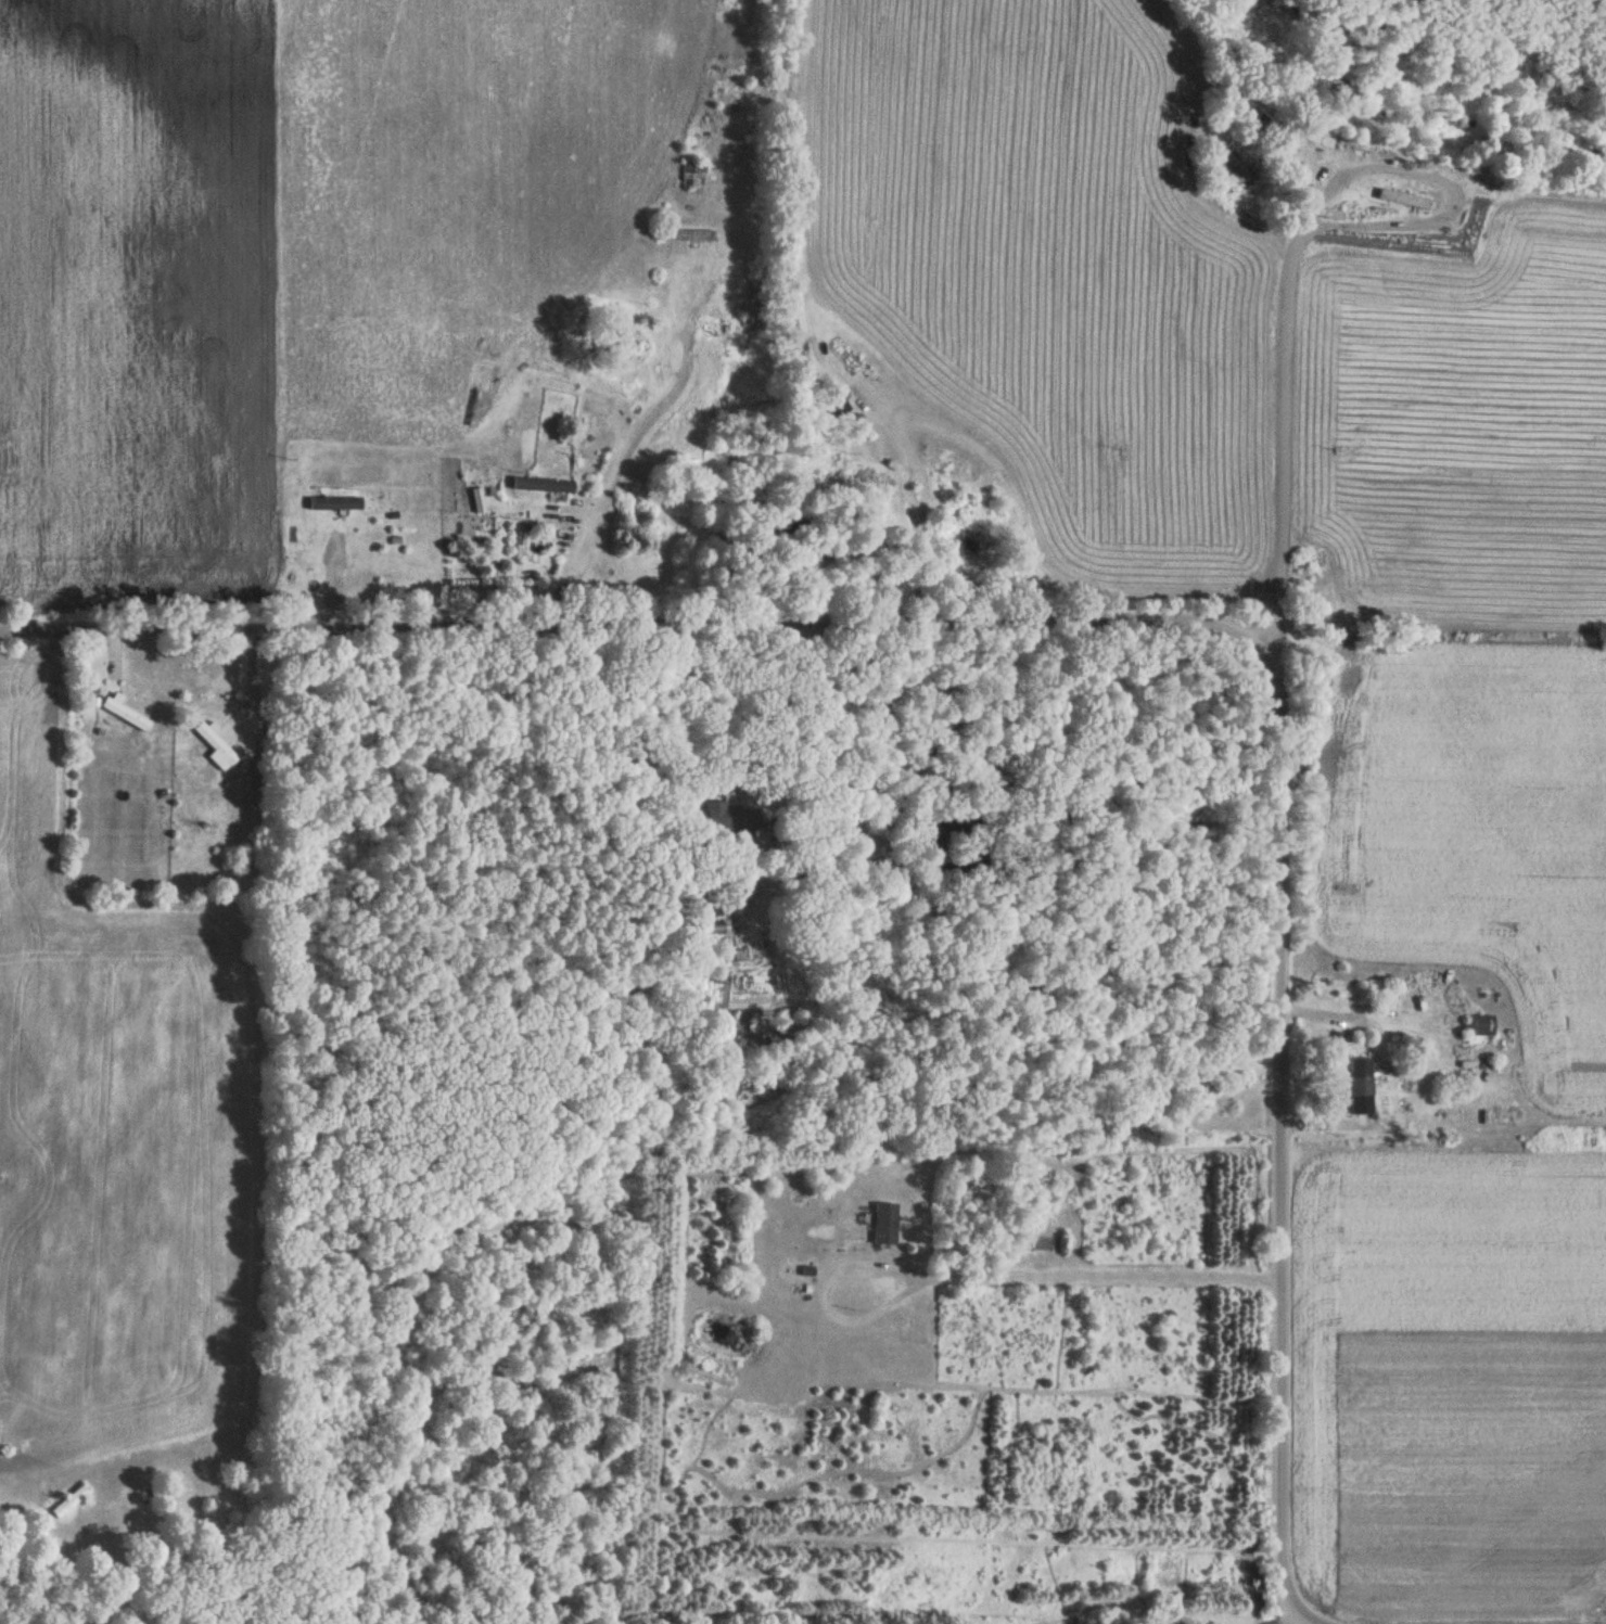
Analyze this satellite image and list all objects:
building: (692, 176)
building: (689, 235)
building: (753, 309)
road: (1271, 394)
building: (834, 404)
road: (998, 468)
building: (543, 486)
building: (915, 503)
building: (334, 504)
road: (568, 566)
road: (1136, 616)
building: (126, 714)
building: (215, 744)
road: (769, 762)
building: (1481, 1026)
building: (1361, 1078)
building: (885, 1226)
road: (984, 1277)
building: (69, 1501)

